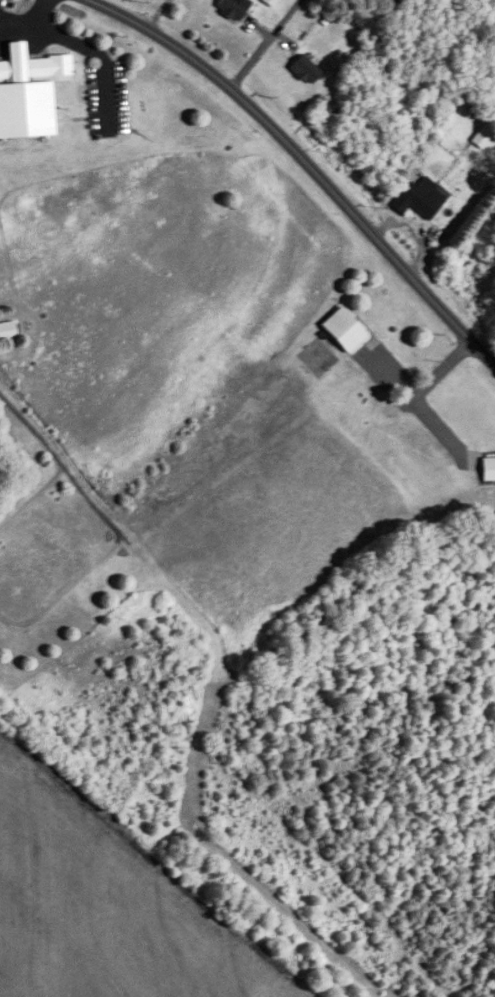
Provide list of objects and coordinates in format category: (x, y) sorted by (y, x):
building: (232, 9)
road: (156, 15)
road: (26, 18)
road: (263, 45)
road: (99, 52)
building: (305, 69)
building: (28, 92)
road: (302, 169)
building: (419, 200)
building: (8, 330)
building: (344, 330)
building: (488, 470)

